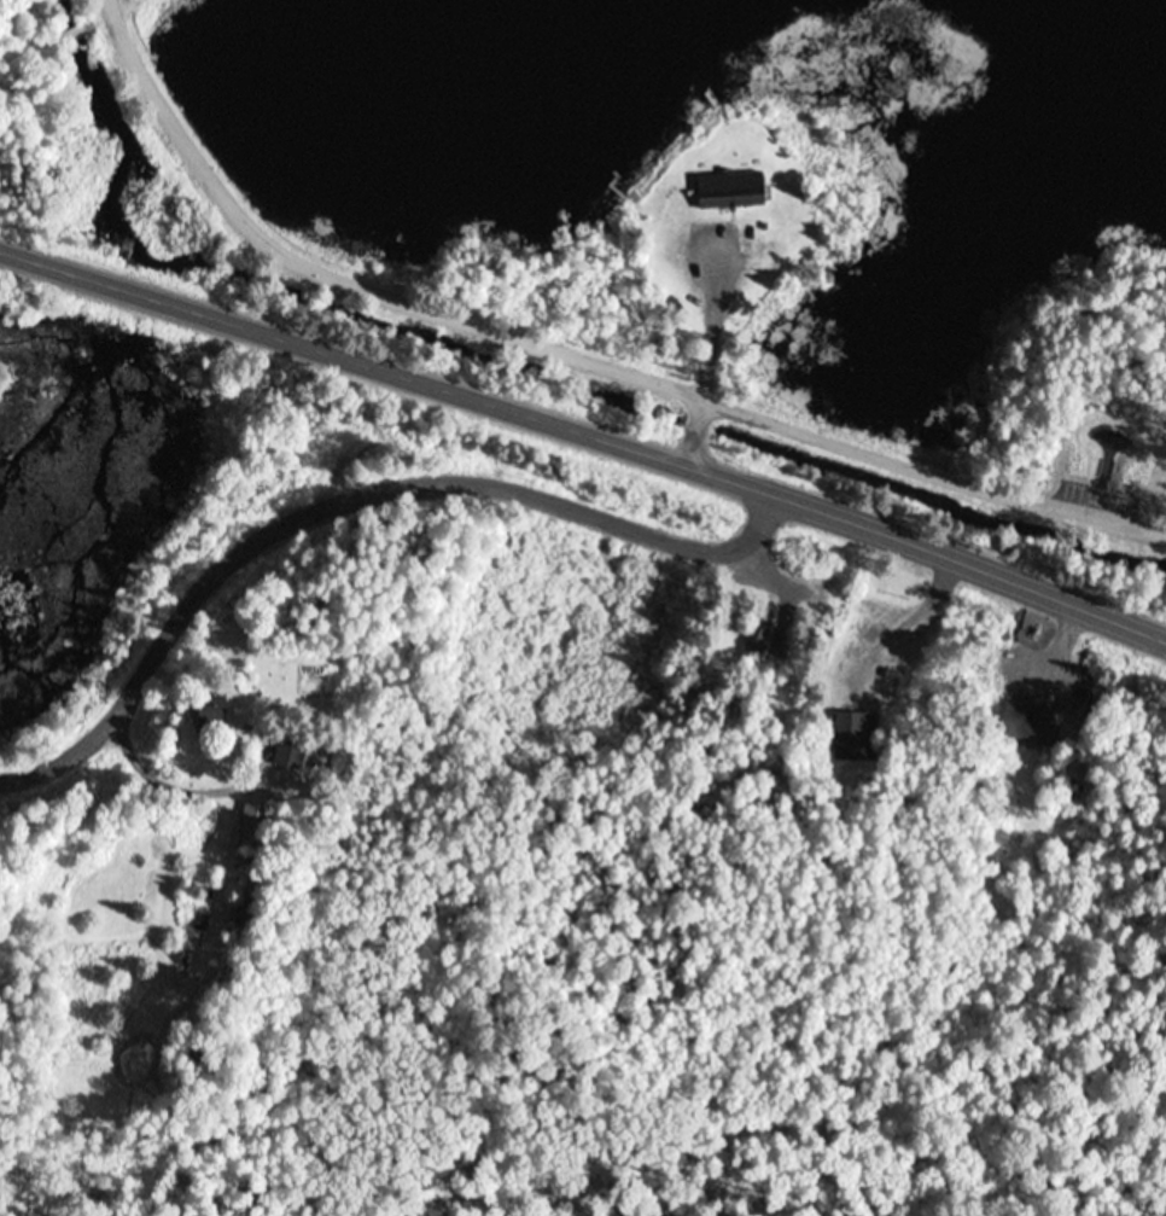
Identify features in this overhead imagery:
river: (123, 191)
building: (718, 191)
park: (253, 292)
river: (264, 330)
road: (705, 350)
road: (577, 354)
road: (585, 434)
road: (352, 498)
river: (150, 547)
building: (1015, 729)
road: (150, 767)

